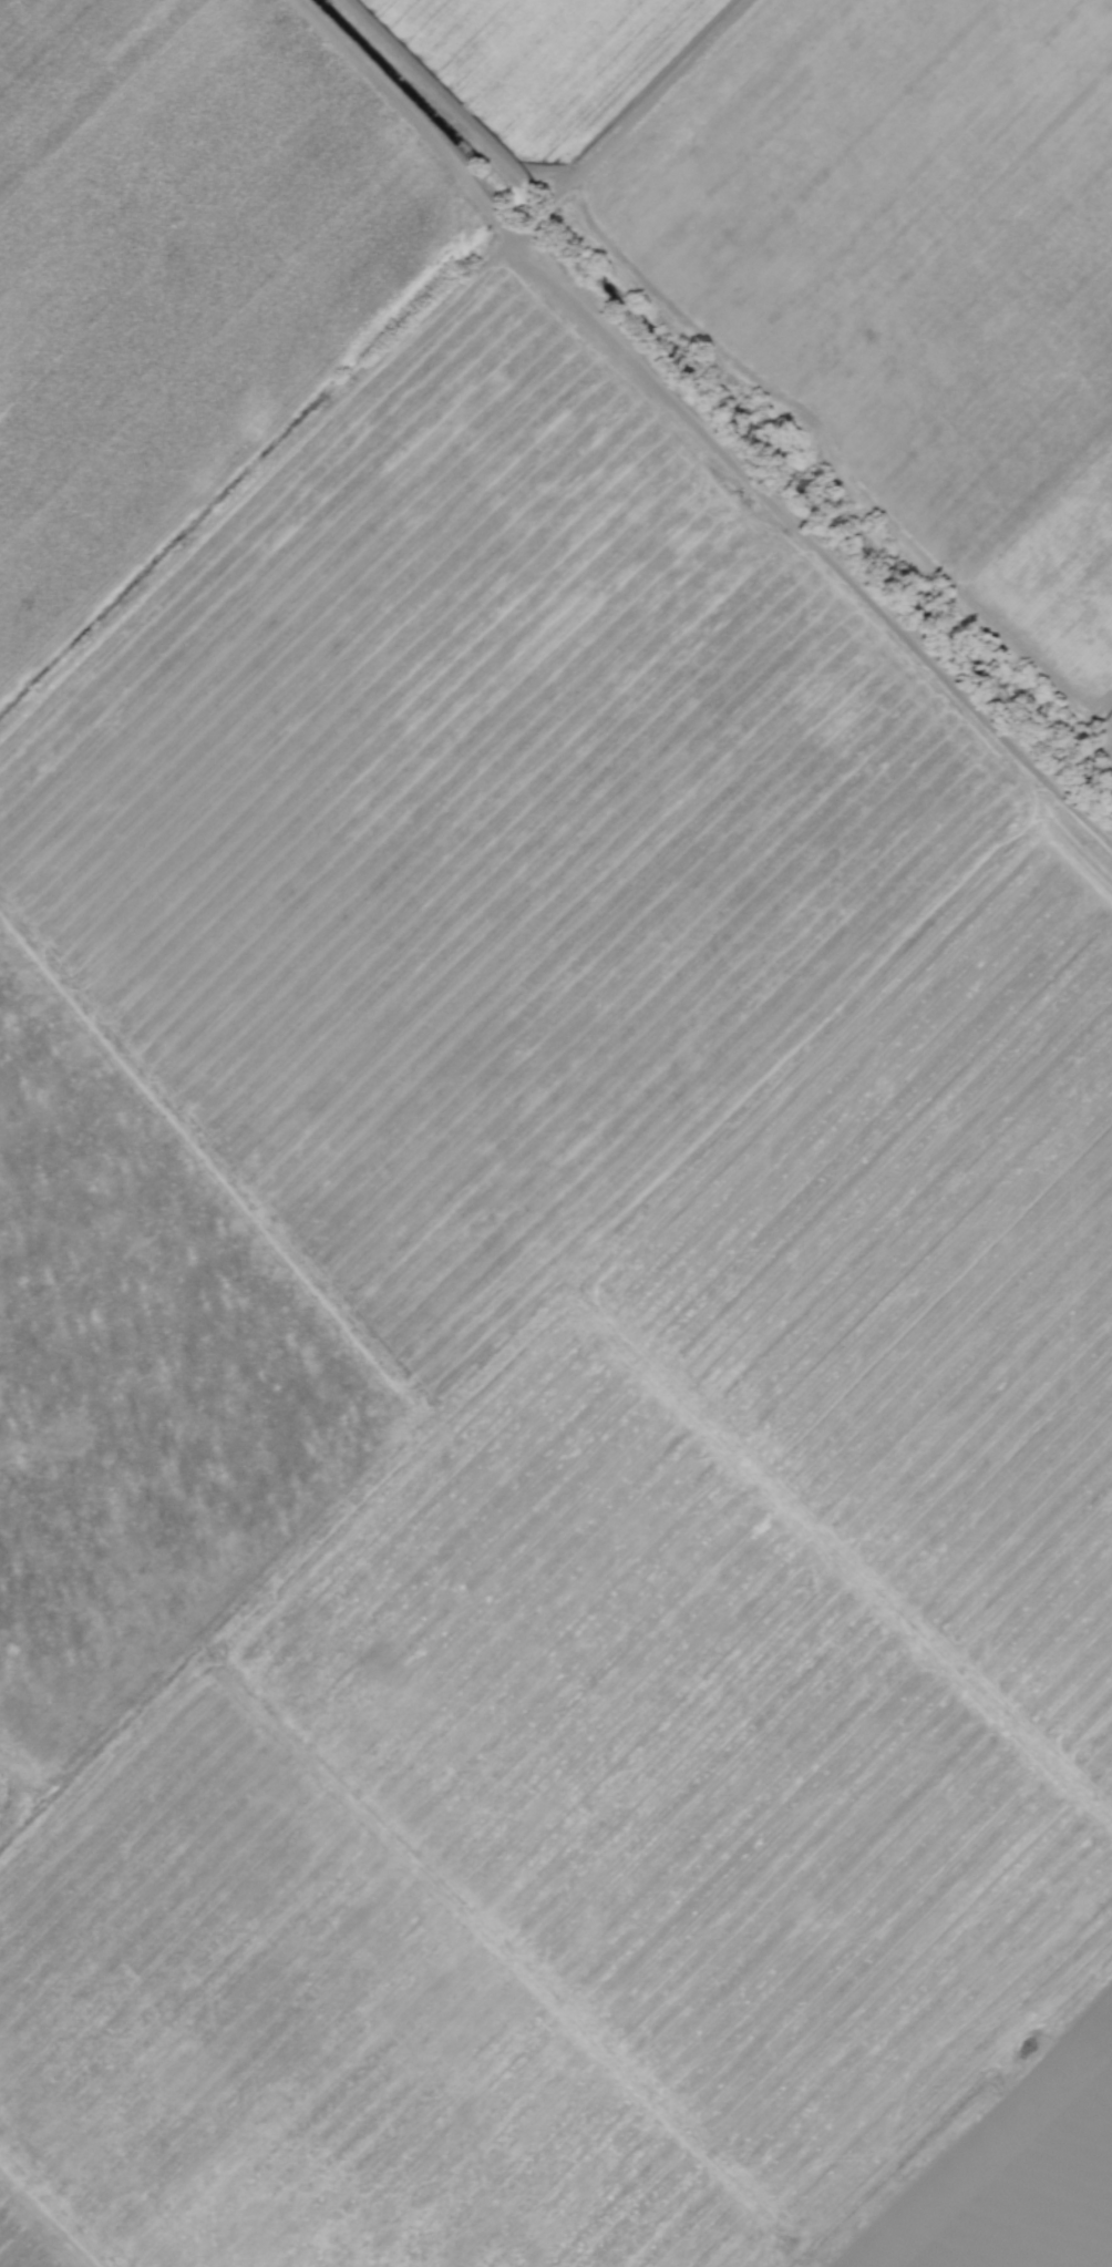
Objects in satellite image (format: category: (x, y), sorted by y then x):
road: (635, 122)
road: (698, 428)
crop: (556, 1133)

